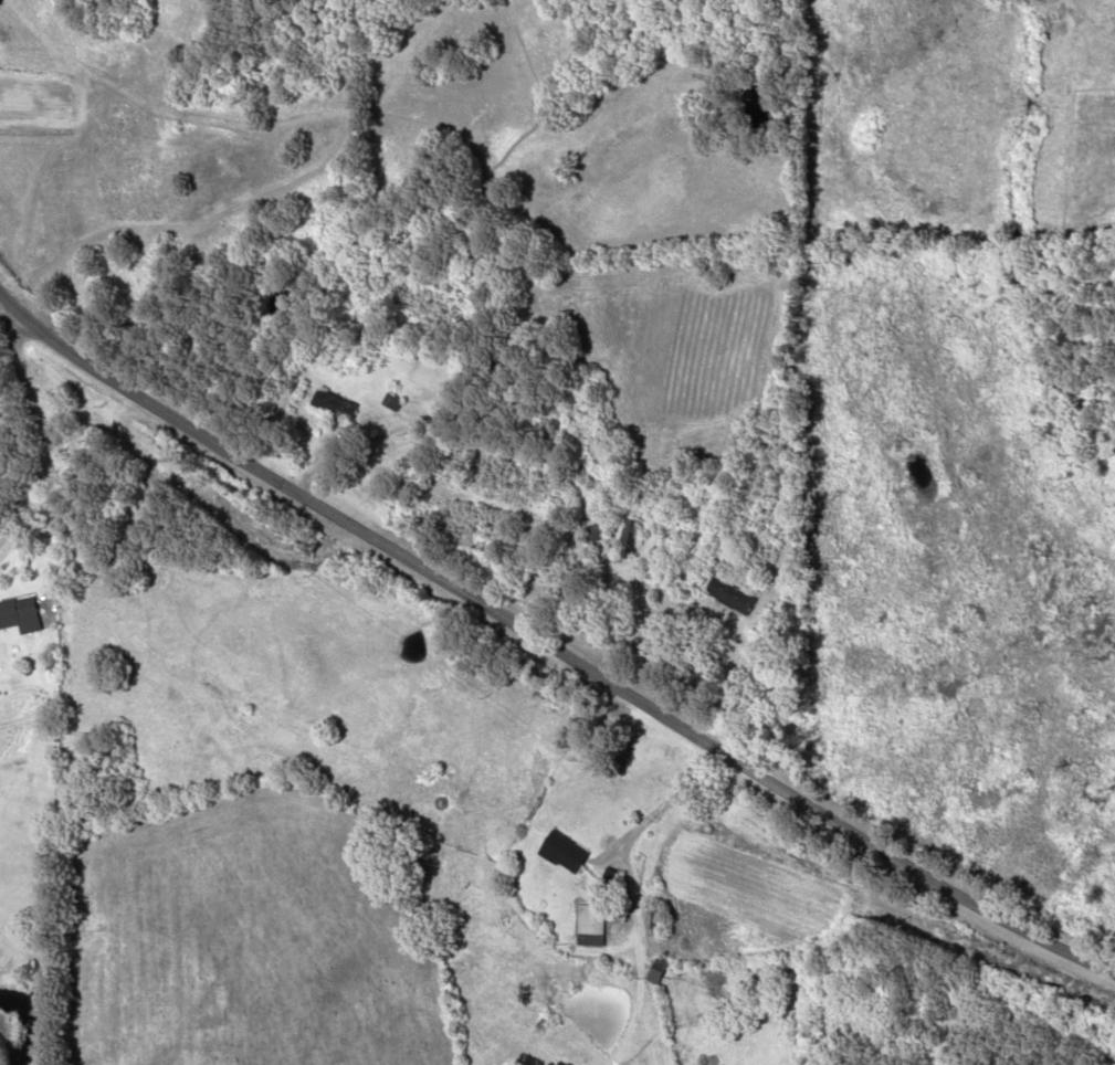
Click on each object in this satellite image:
building: (391, 402)
building: (335, 405)
road: (43, 433)
building: (591, 534)
building: (628, 539)
building: (795, 574)
building: (729, 595)
building: (20, 615)
road: (546, 646)
building: (564, 852)
building: (655, 918)
building: (589, 925)
building: (656, 970)

